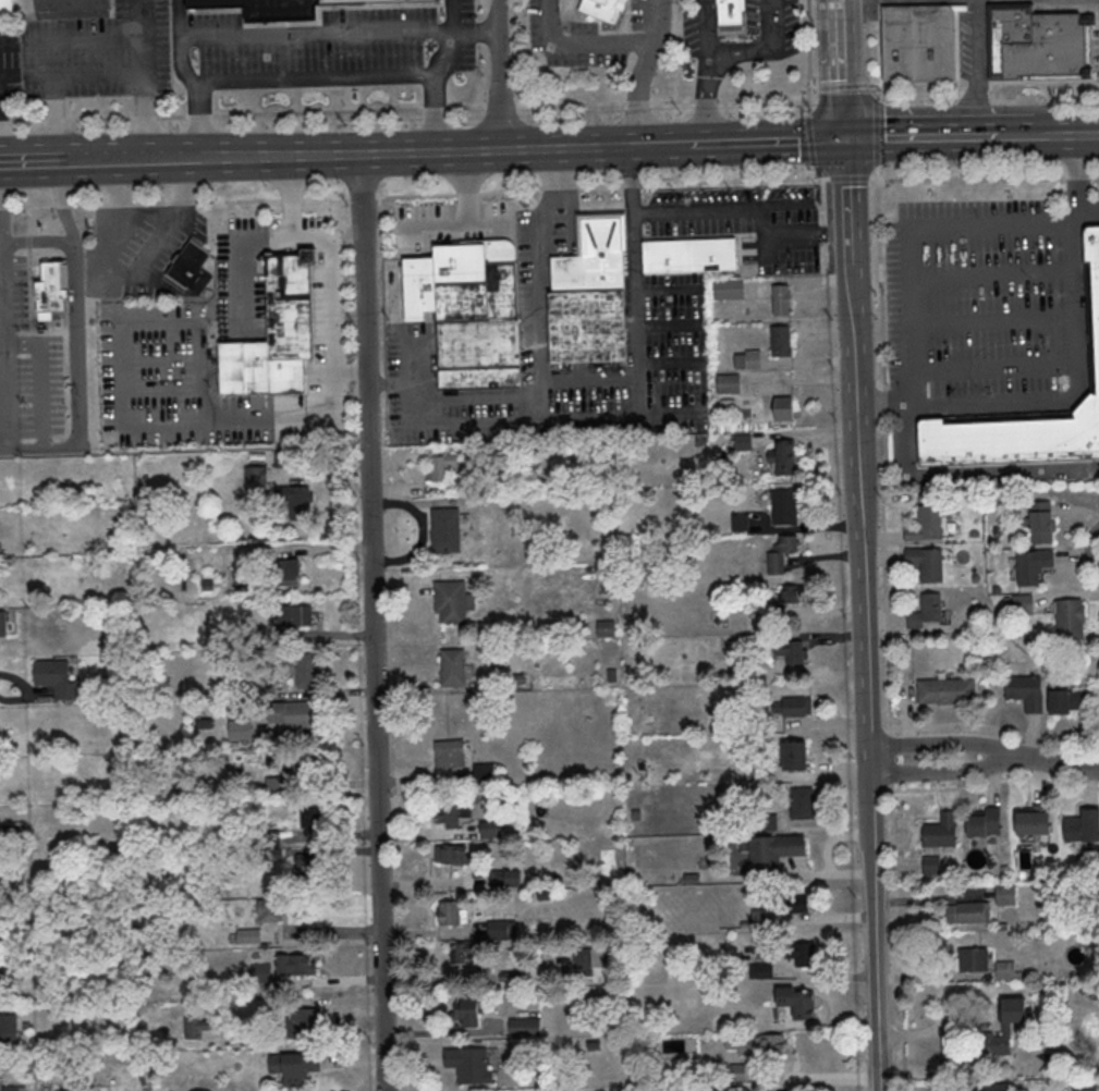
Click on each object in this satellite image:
road: (925, 1)
building: (5, 8)
building: (282, 8)
building: (601, 8)
building: (71, 9)
building: (731, 11)
road: (144, 19)
road: (770, 27)
road: (339, 33)
road: (133, 38)
road: (582, 41)
building: (918, 42)
building: (1036, 42)
parking lot: (89, 54)
road: (736, 54)
road: (841, 68)
road: (976, 68)
road: (73, 71)
road: (708, 71)
road: (643, 72)
road: (435, 73)
road: (499, 74)
road: (312, 78)
road: (190, 79)
road: (956, 83)
road: (53, 101)
road: (456, 111)
road: (1073, 134)
road: (1016, 135)
road: (1041, 135)
road: (921, 136)
traffic signals: (844, 137)
road: (766, 139)
road: (652, 145)
road: (559, 148)
road: (429, 152)
road: (279, 157)
road: (132, 160)
road: (32, 162)
road: (988, 176)
road: (467, 187)
road: (291, 196)
road: (847, 200)
road: (720, 209)
road: (454, 223)
parking lot: (747, 224)
road: (920, 229)
road: (38, 243)
building: (689, 255)
building: (191, 269)
road: (1, 273)
road: (126, 273)
road: (992, 275)
building: (1095, 275)
road: (330, 285)
building: (52, 289)
road: (668, 290)
building: (729, 290)
building: (590, 294)
building: (781, 301)
parking lot: (986, 308)
building: (471, 311)
road: (76, 320)
road: (994, 321)
road: (668, 326)
building: (276, 335)
road: (200, 341)
road: (637, 341)
building: (781, 342)
road: (538, 357)
building: (748, 360)
road: (668, 361)
road: (996, 366)
road: (349, 371)
building: (729, 384)
road: (856, 387)
road: (1077, 389)
road: (535, 407)
building: (783, 407)
road: (332, 408)
road: (668, 409)
road: (537, 418)
road: (805, 436)
building: (1014, 439)
building: (743, 443)
road: (3, 448)
road: (42, 448)
building: (783, 458)
building: (282, 459)
building: (453, 466)
building: (256, 478)
road: (884, 482)
building: (296, 501)
building: (784, 508)
building: (1040, 522)
building: (740, 523)
building: (926, 525)
building: (445, 531)
building: (997, 531)
building: (973, 535)
building: (781, 554)
building: (927, 564)
building: (1031, 566)
building: (290, 572)
building: (975, 579)
building: (610, 589)
building: (996, 590)
building: (791, 594)
building: (451, 602)
building: (1006, 602)
building: (1022, 604)
building: (926, 612)
building: (294, 615)
building: (1069, 620)
road: (371, 622)
building: (3, 624)
building: (607, 629)
road: (865, 636)
building: (758, 640)
building: (792, 651)
building: (453, 667)
building: (307, 672)
building: (612, 676)
building: (56, 678)
road: (27, 691)
building: (945, 691)
building: (1026, 692)
building: (1064, 698)
building: (794, 708)
building: (294, 714)
road: (996, 726)
building: (240, 730)
road: (937, 746)
building: (450, 755)
building: (687, 756)
building: (796, 757)
road: (1051, 763)
road: (936, 771)
building: (485, 773)
road: (996, 781)
building: (804, 805)
building: (452, 814)
building: (309, 817)
building: (1033, 821)
building: (985, 824)
building: (1082, 828)
building: (490, 830)
building: (941, 833)
building: (774, 853)
building: (453, 855)
building: (308, 865)
building: (505, 878)
building: (1005, 896)
building: (796, 906)
building: (269, 911)
building: (451, 914)
building: (968, 914)
building: (761, 919)
road: (822, 920)
road: (876, 925)
building: (502, 928)
road: (319, 932)
building: (248, 936)
building: (462, 952)
building: (802, 954)
building: (974, 960)
building: (294, 965)
building: (765, 971)
building: (1005, 971)
building: (3, 974)
road: (938, 978)
building: (797, 1004)
building: (467, 1013)
building: (304, 1022)
building: (525, 1028)
building: (1005, 1029)
building: (9, 1030)
road: (447, 1033)
building: (757, 1045)
building: (468, 1066)
building: (294, 1068)
building: (736, 1074)
road: (811, 1077)
building: (708, 1087)
building: (997, 1087)
building: (13, 1088)

